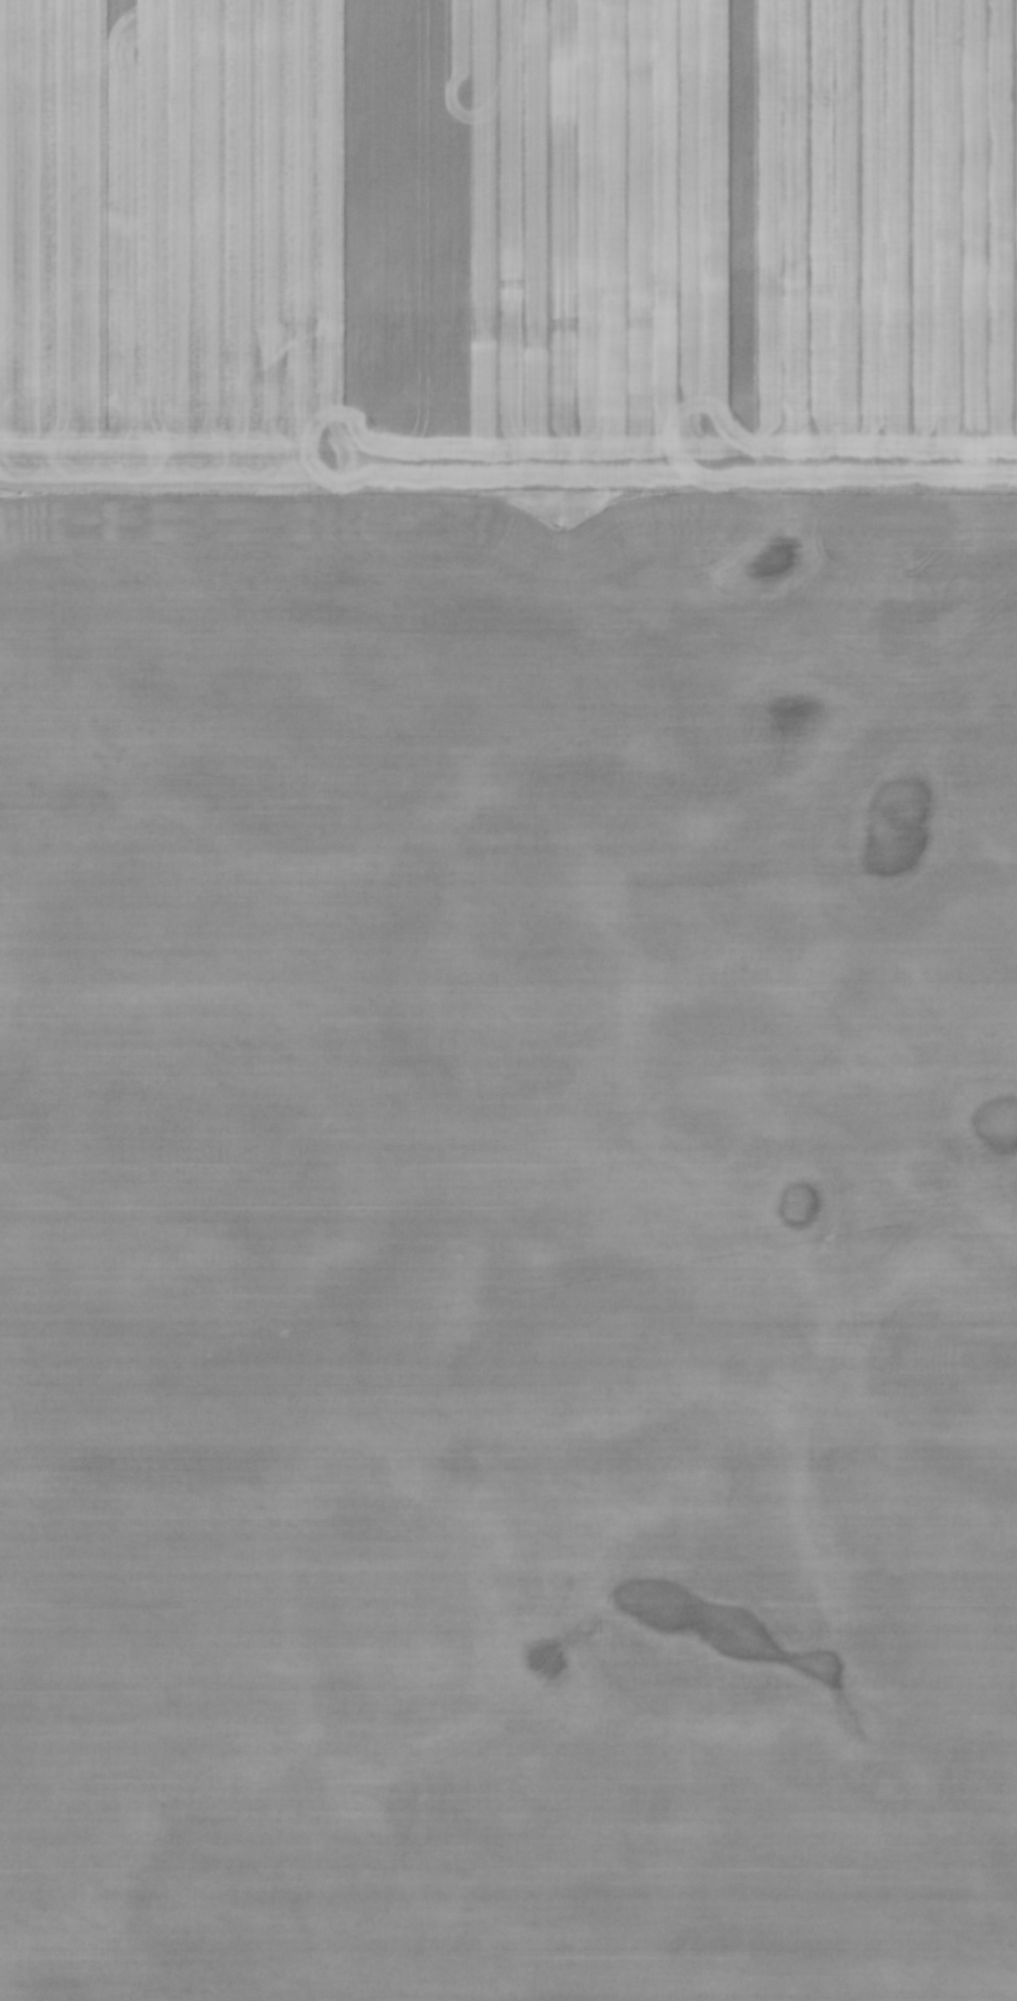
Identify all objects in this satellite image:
road: (508, 493)

